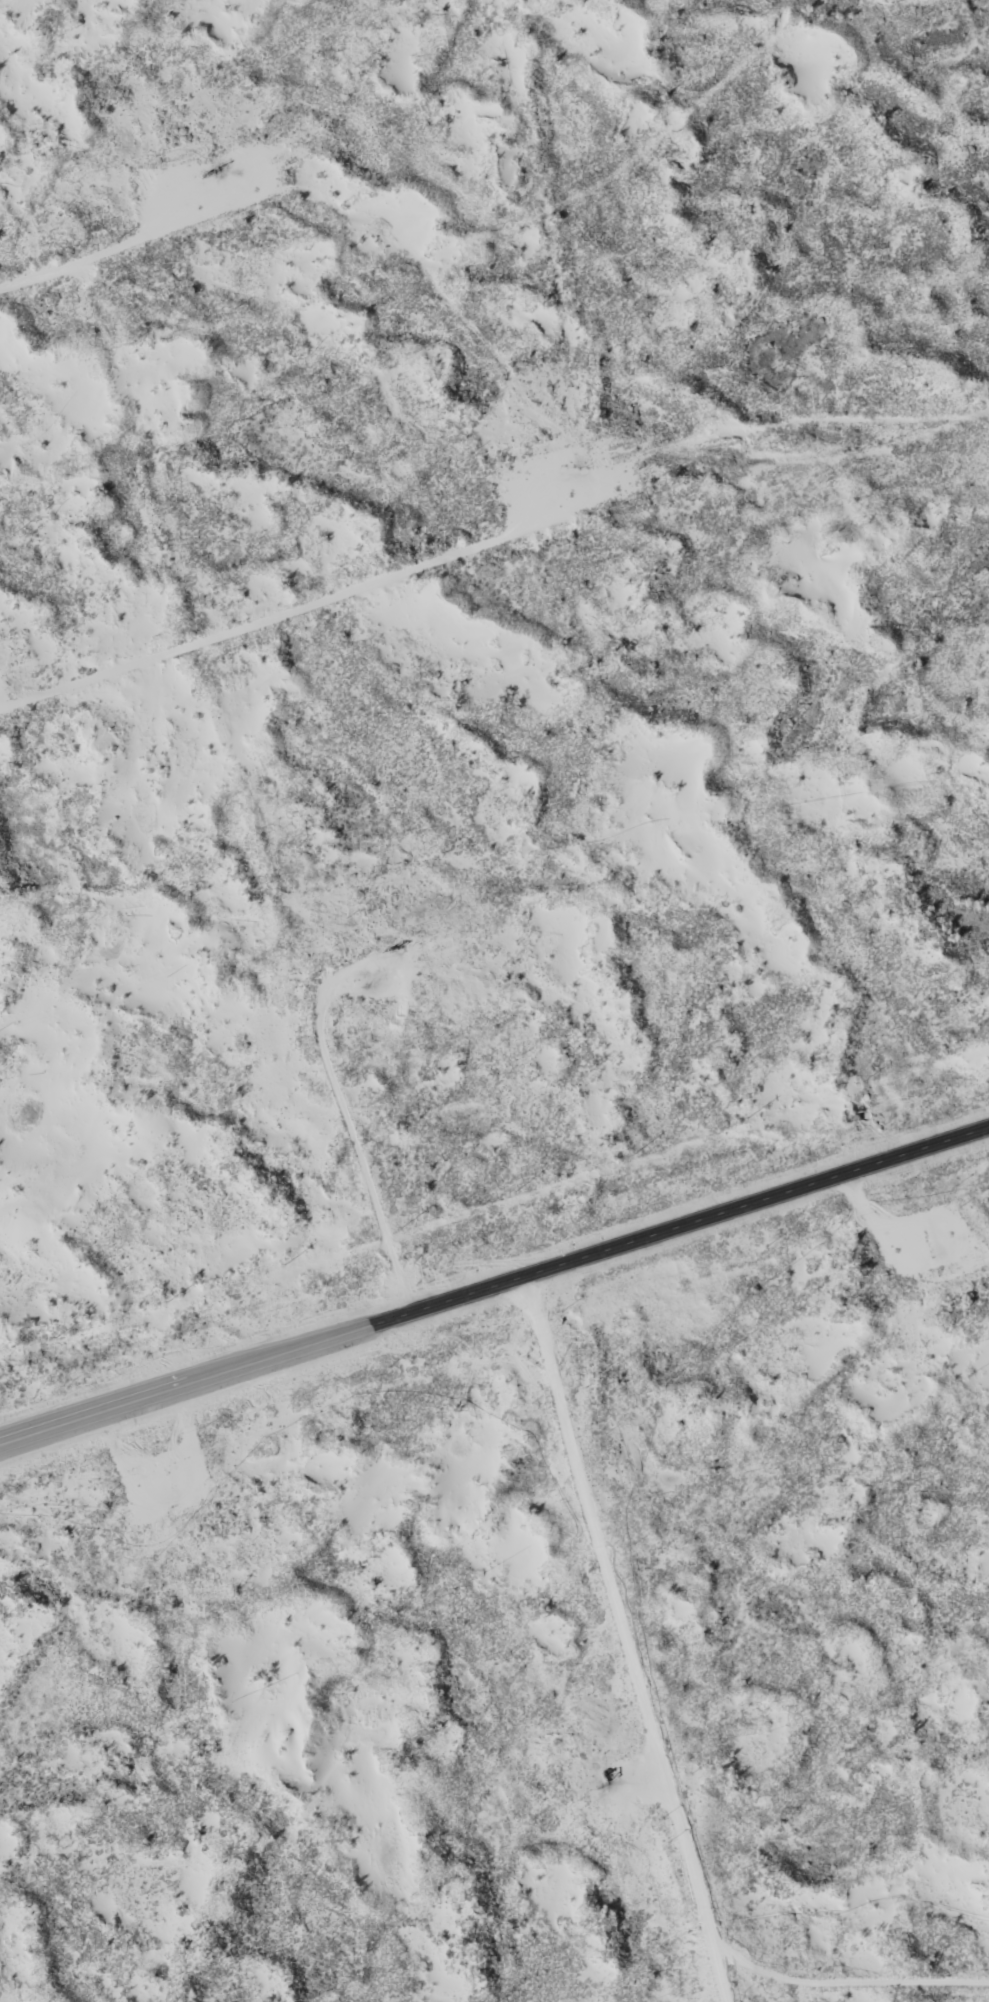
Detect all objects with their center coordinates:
road: (494, 1283)
road: (628, 1636)

